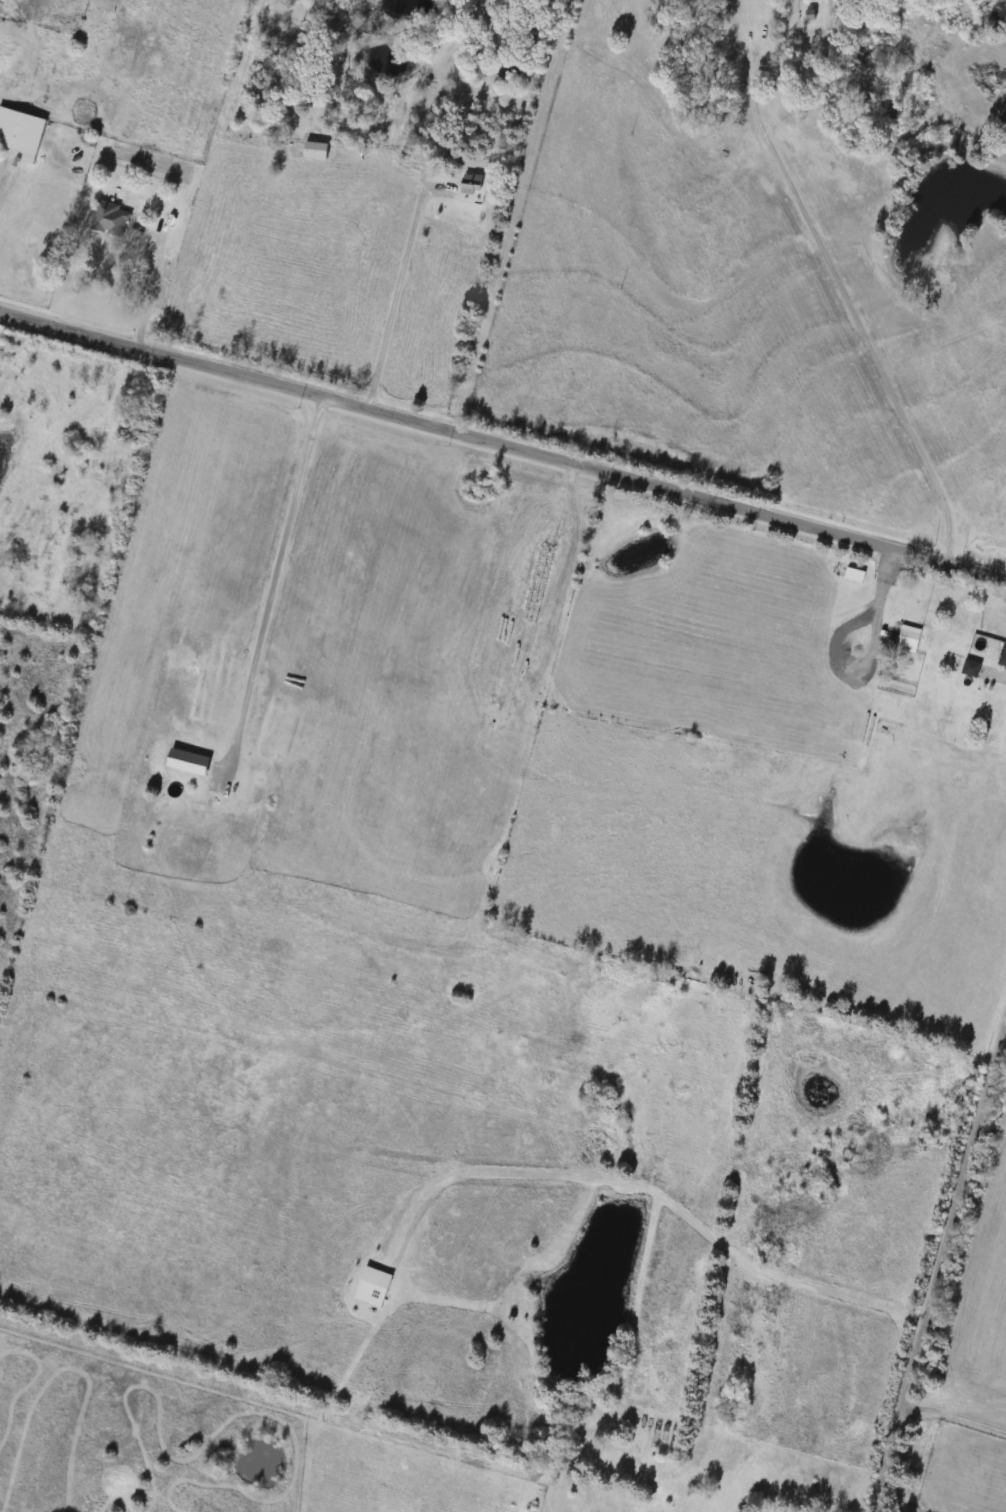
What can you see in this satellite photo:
building: (22, 130)
road: (3, 176)
building: (473, 184)
building: (111, 219)
road: (398, 286)
road: (842, 286)
road: (147, 289)
road: (503, 446)
building: (856, 574)
road: (274, 580)
building: (908, 641)
building: (1002, 656)
building: (971, 667)
road: (994, 672)
building: (191, 762)
road: (651, 1189)
road: (941, 1265)
road: (955, 1414)

